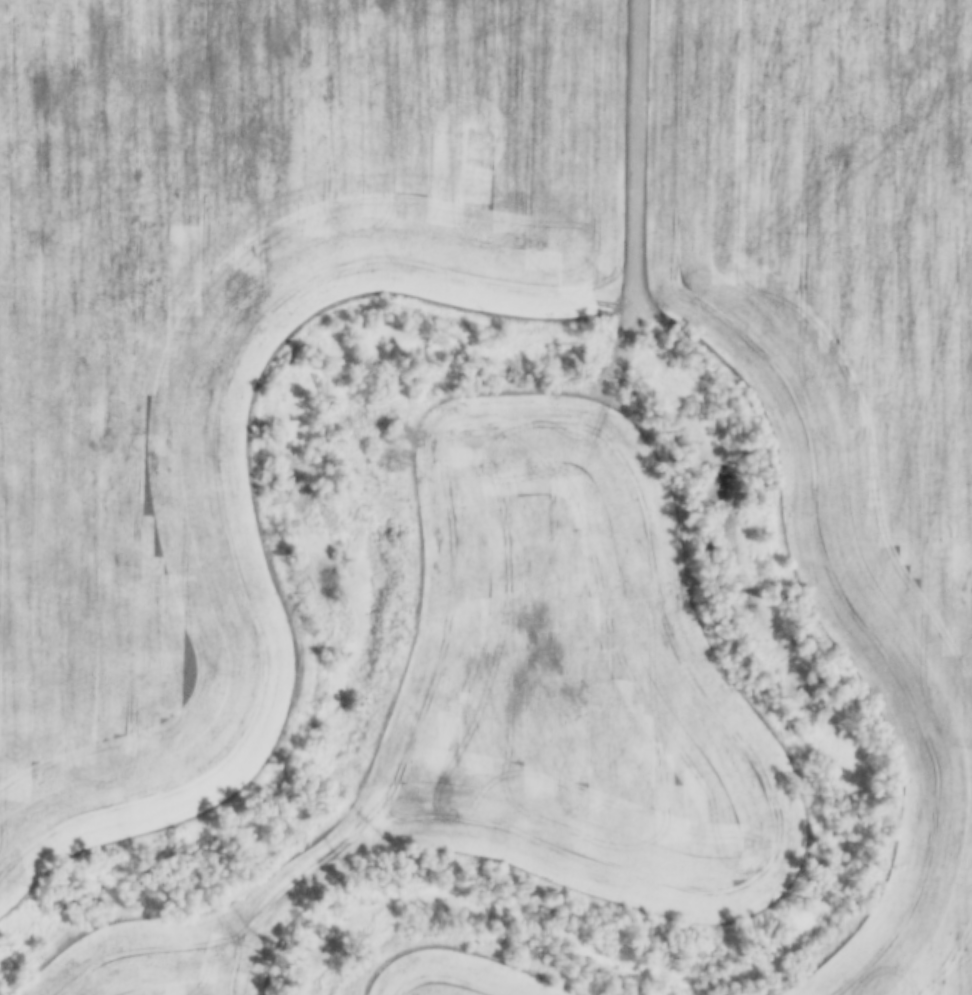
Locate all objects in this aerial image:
crop: (234, 328)
crop: (846, 372)
crop: (520, 711)
crop: (445, 977)

